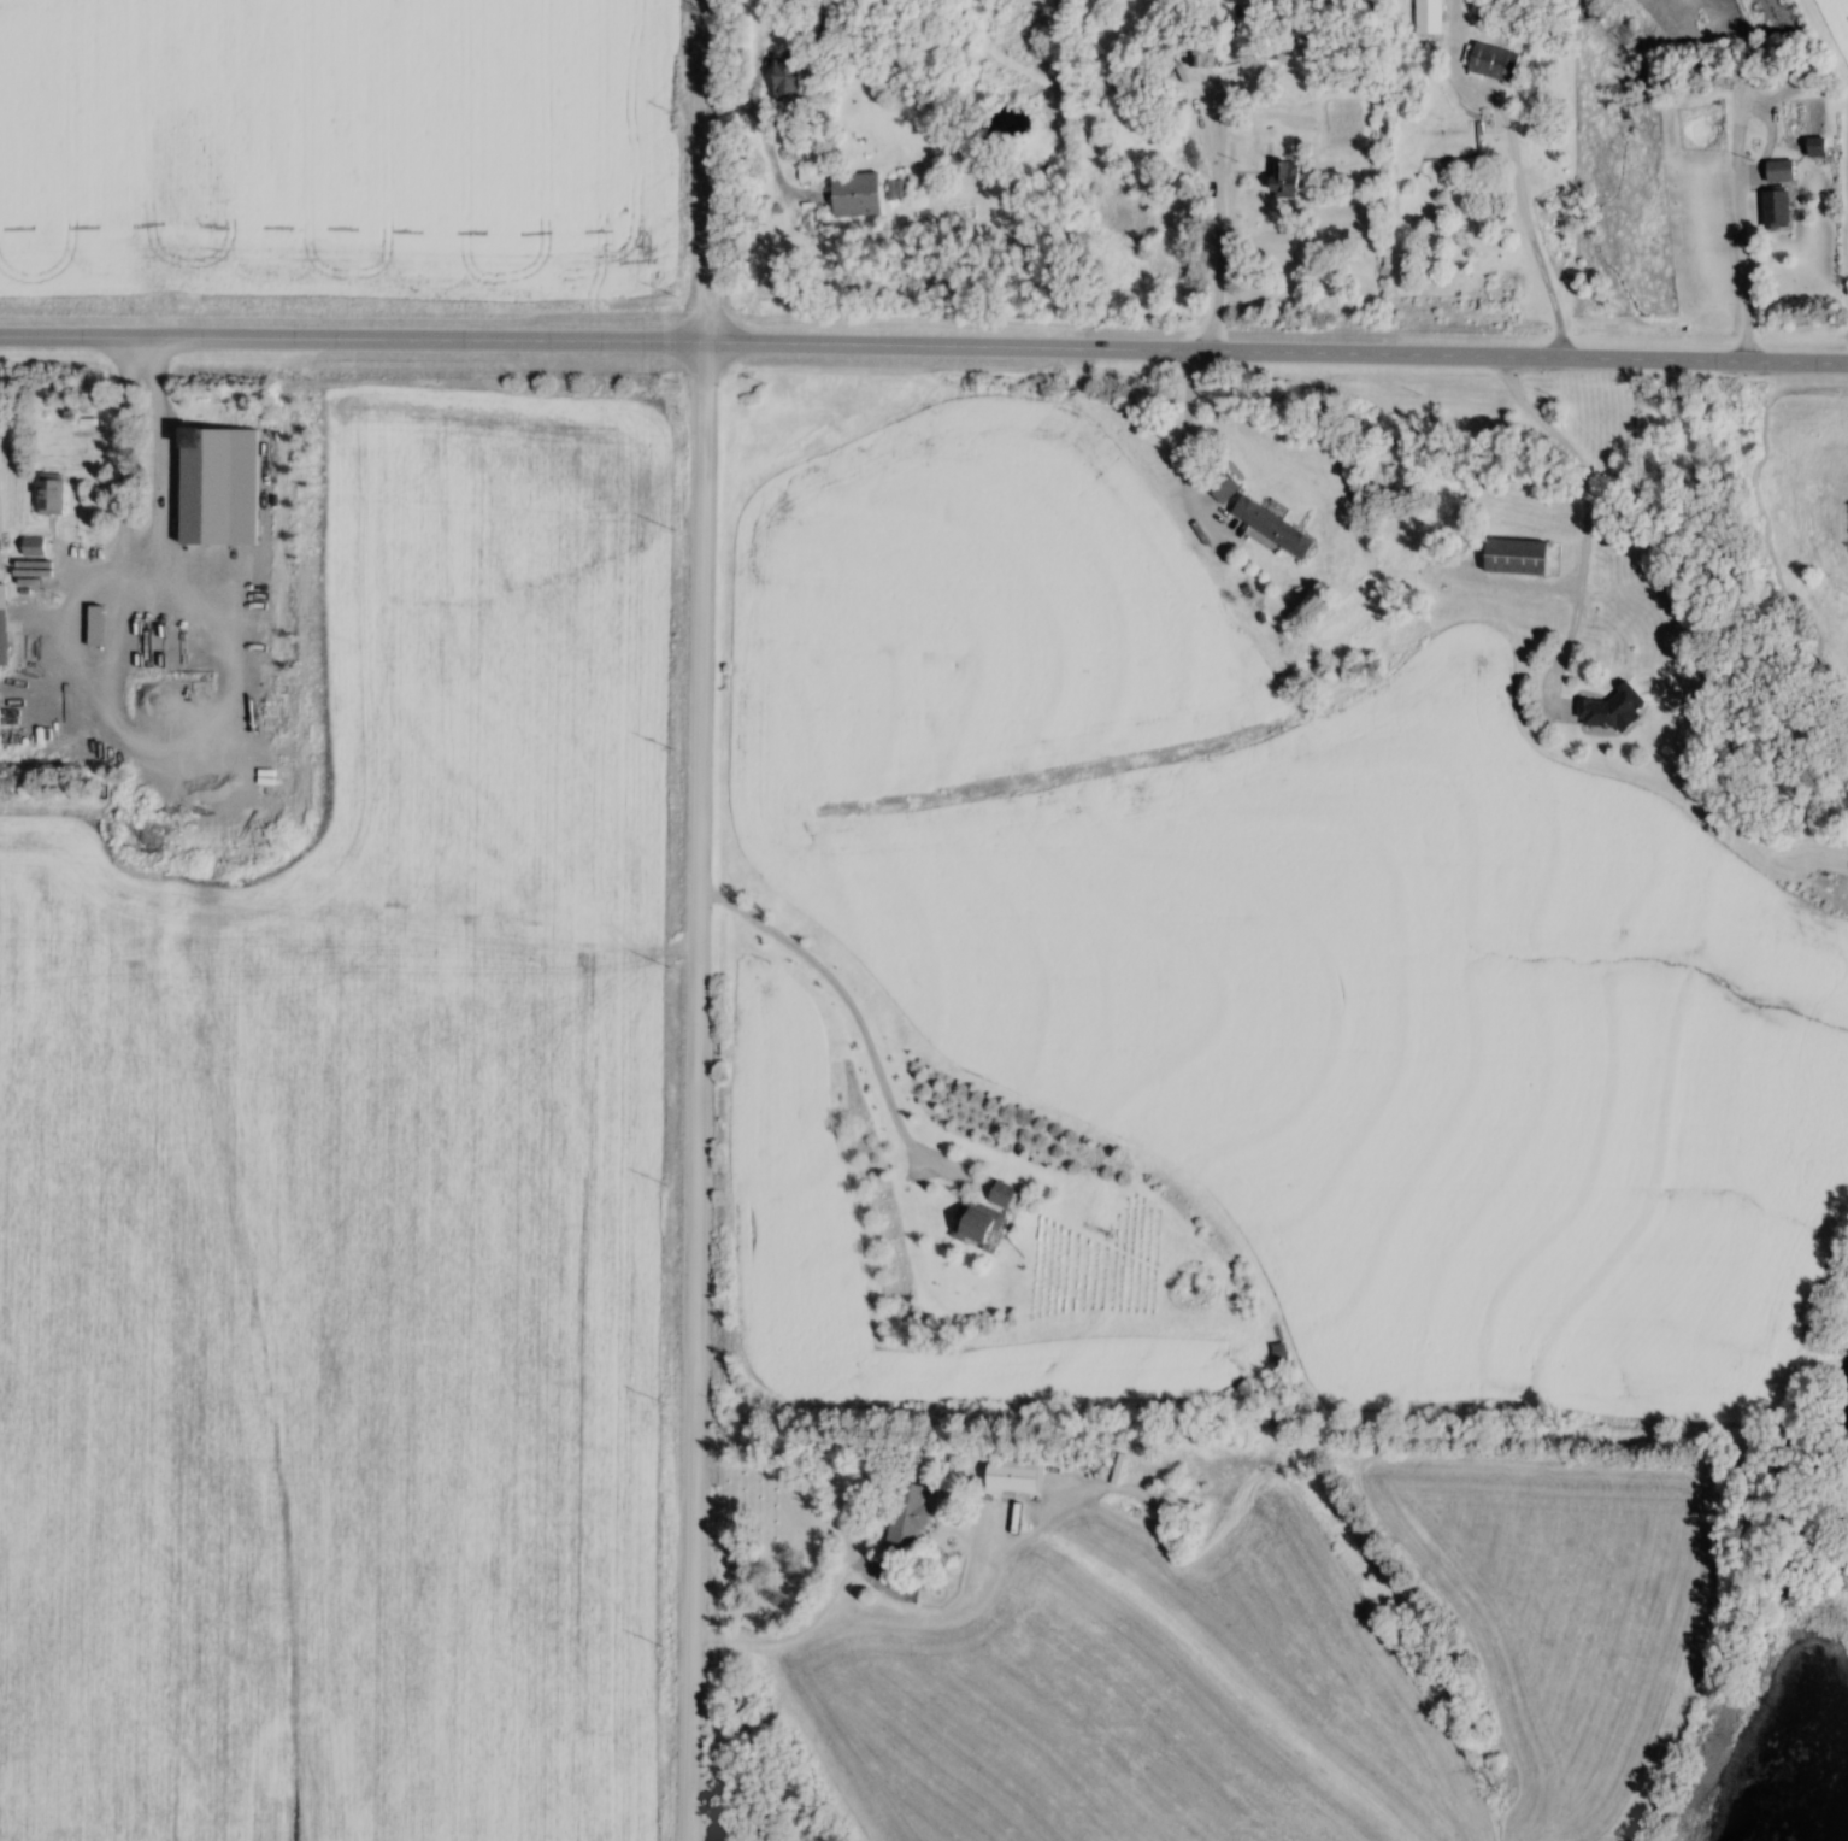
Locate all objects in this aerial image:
building: (1426, 17)
building: (1199, 49)
building: (1490, 61)
building: (784, 80)
building: (1778, 169)
road: (1517, 172)
building: (1282, 177)
building: (897, 188)
building: (853, 194)
building: (1775, 207)
road: (1219, 263)
road: (1743, 270)
road: (924, 345)
road: (1187, 433)
building: (1220, 484)
building: (48, 493)
road: (1587, 512)
building: (1270, 525)
building: (31, 546)
road: (147, 547)
building: (1513, 555)
building: (1, 624)
building: (164, 628)
building: (99, 629)
building: (1608, 708)
road: (699, 919)
road: (859, 1025)
building: (1000, 1193)
building: (977, 1225)
building: (1278, 1353)
building: (1010, 1476)
building: (906, 1516)
road: (847, 1543)

